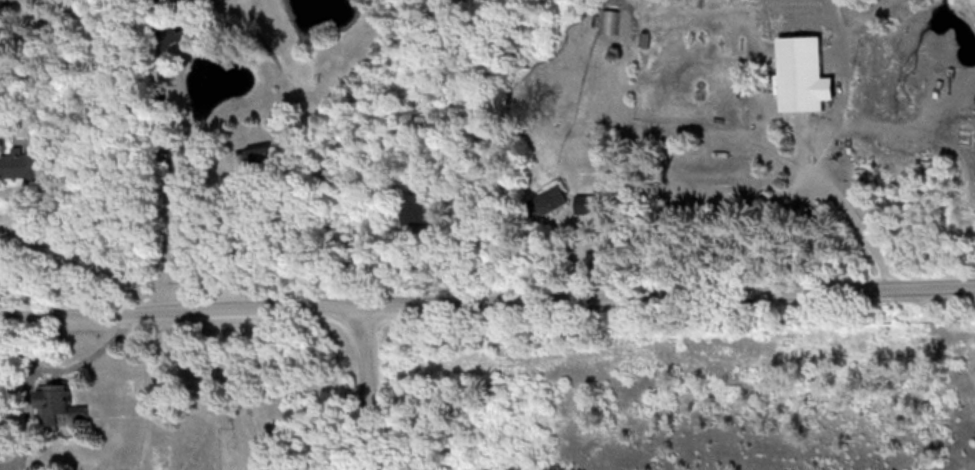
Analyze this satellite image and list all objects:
building: (185, 0)
building: (646, 37)
building: (778, 76)
building: (262, 153)
road: (818, 160)
building: (22, 163)
road: (169, 164)
building: (548, 199)
building: (588, 203)
building: (415, 207)
road: (7, 287)
road: (487, 296)
road: (84, 356)
road: (373, 385)
building: (58, 404)
road: (28, 406)

